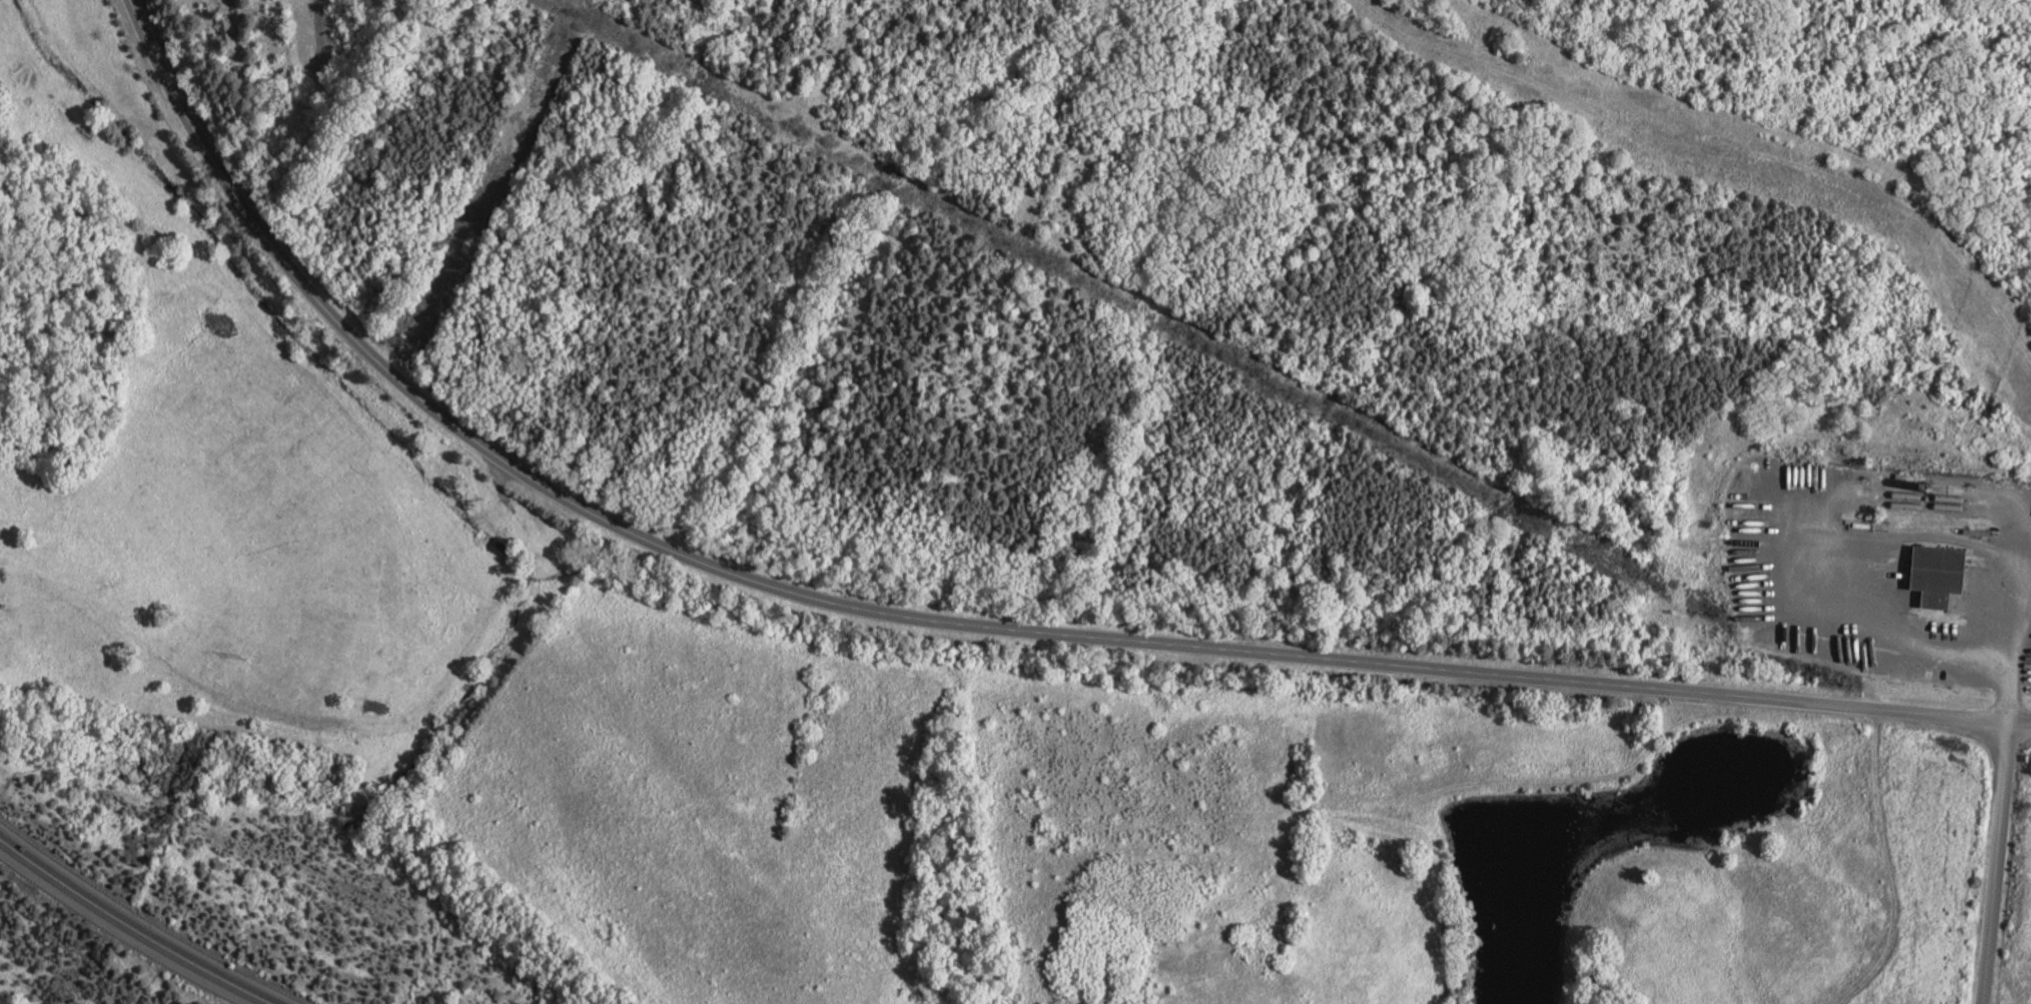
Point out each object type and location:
road: (1861, 536)
road: (879, 611)
road: (1957, 716)
road: (1996, 862)
road: (132, 926)

